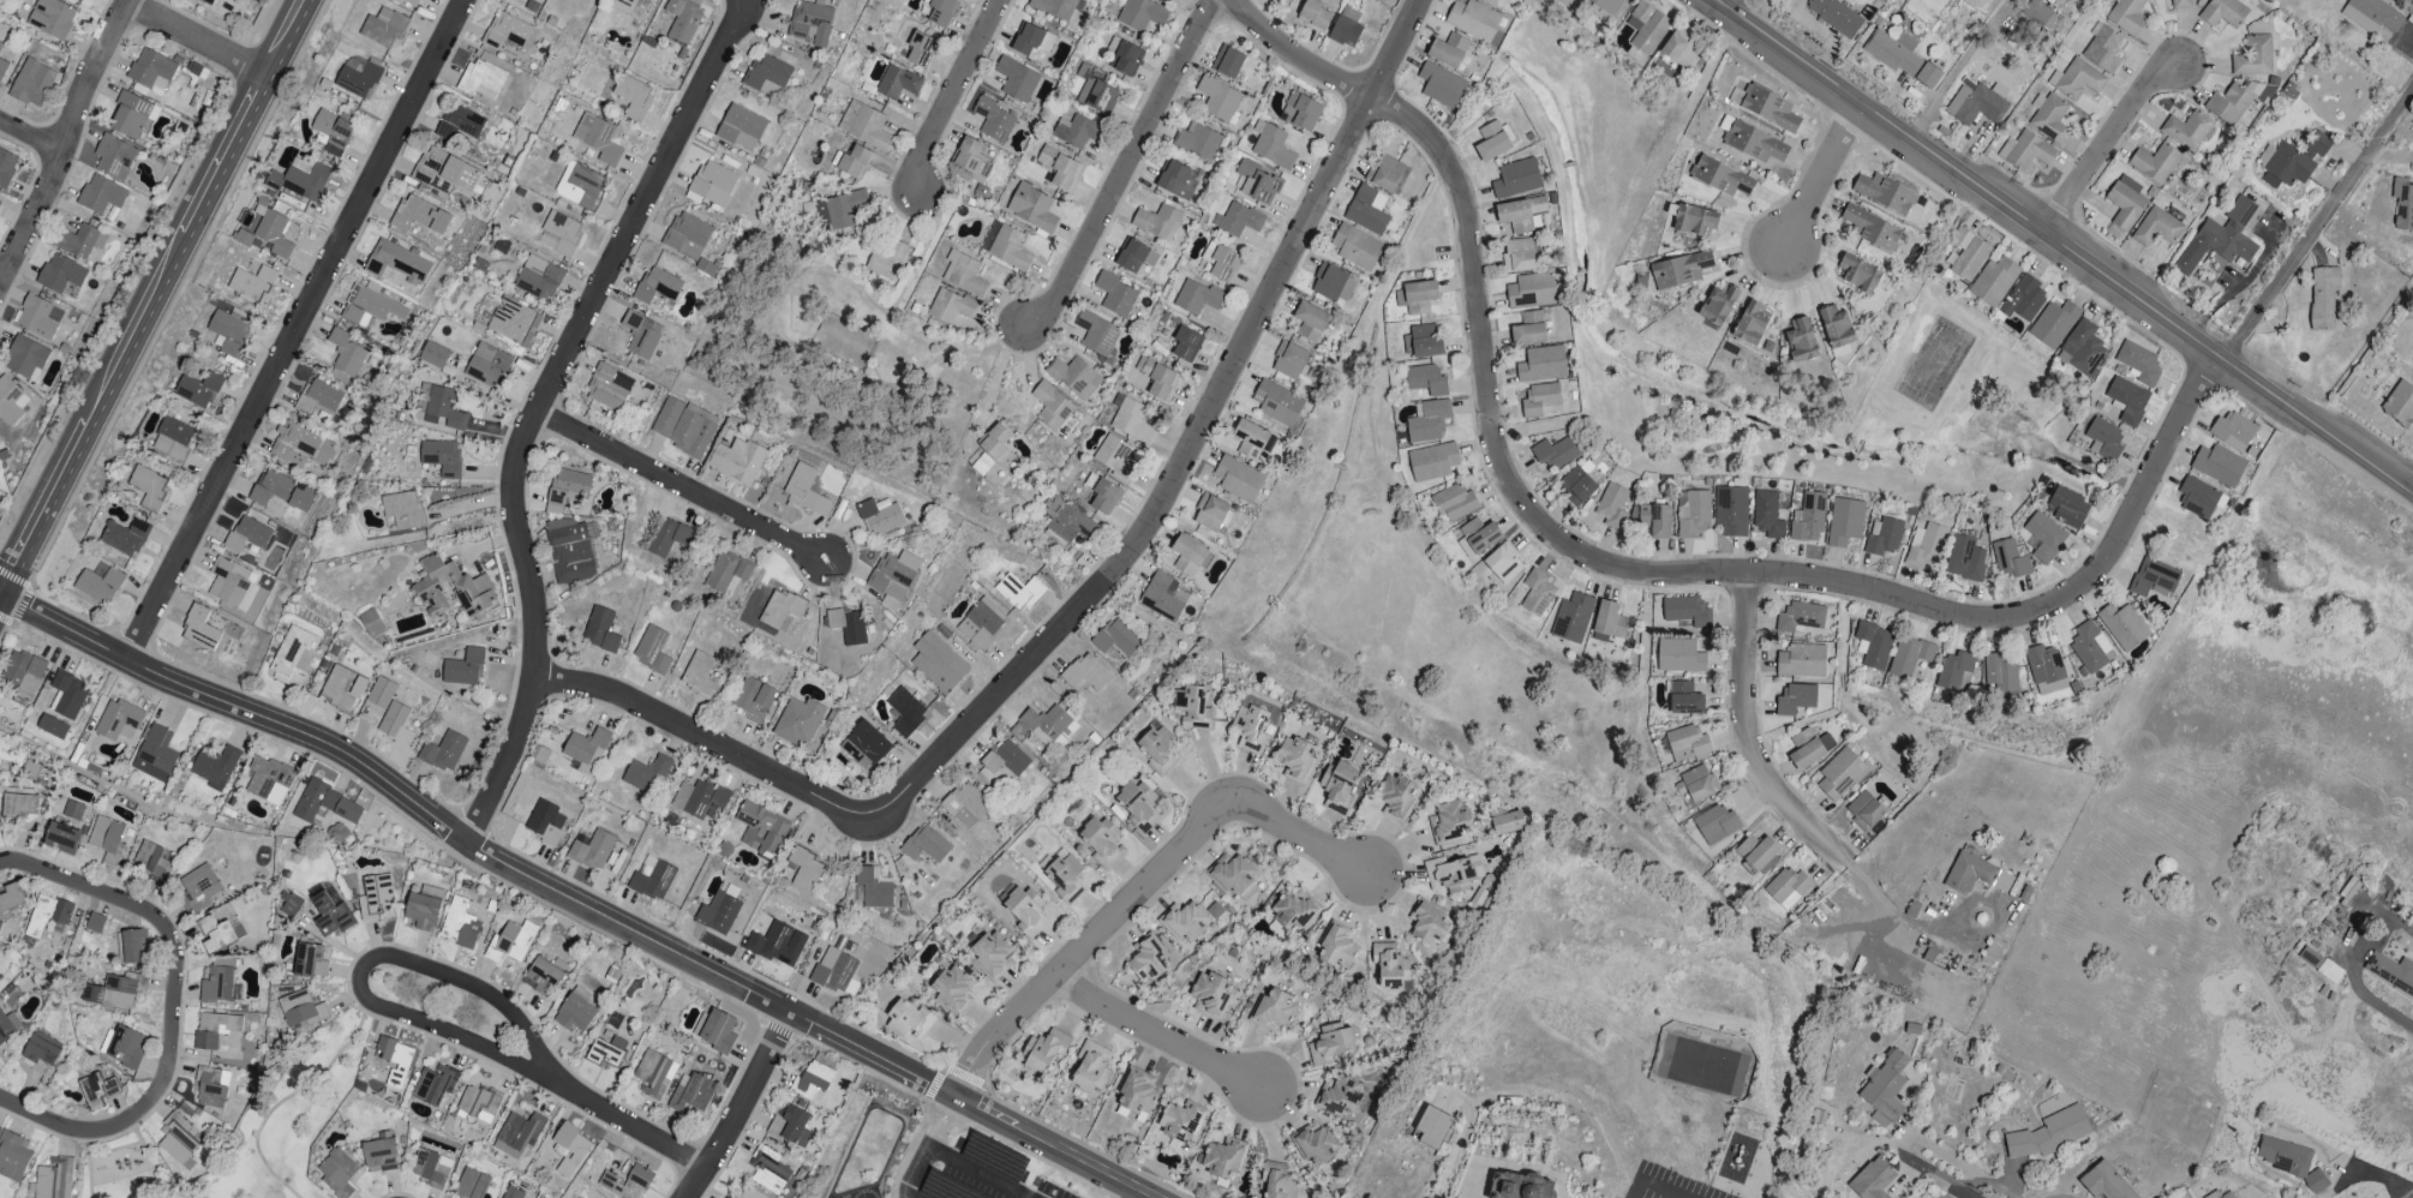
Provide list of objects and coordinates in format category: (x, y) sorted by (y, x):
building: (651, 0)
building: (1166, 0)
building: (1484, 0)
building: (206, 1)
building: (408, 2)
building: (1565, 2)
road: (1722, 4)
building: (2179, 4)
building: (628, 6)
building: (1054, 7)
building: (941, 12)
building: (2223, 12)
building: (1140, 14)
building: (1313, 14)
building: (2035, 14)
building: (1836, 16)
building: (2126, 16)
building: (2372, 16)
building: (52, 18)
building: (682, 19)
building: (1473, 20)
building: (810, 23)
building: (1346, 26)
building: (382, 28)
building: (1646, 28)
building: (505, 31)
road: (197, 37)
building: (1031, 40)
building: (0, 46)
building: (1679, 48)
building: (2102, 48)
building: (920, 49)
building: (1448, 50)
building: (1125, 56)
building: (2253, 56)
building: (1902, 58)
building: (1227, 61)
building: (2, 68)
road: (1957, 68)
building: (151, 70)
building: (766, 74)
building: (357, 77)
building: (1016, 79)
building: (2076, 79)
building: (481, 80)
building: (32, 83)
building: (897, 83)
building: (1441, 85)
building: (1095, 92)
road: (950, 94)
building: (633, 96)
building: (1217, 98)
building: (2237, 101)
building: (1976, 104)
building: (1768, 108)
building: (1300, 112)
building: (131, 114)
building: (2049, 118)
building: (993, 120)
building: (459, 124)
building: (863, 125)
building: (741, 128)
building: (2186, 130)
building: (1076, 131)
building: (333, 132)
road: (31, 136)
building: (598, 138)
building: (1197, 140)
road: (66, 142)
building: (1491, 142)
building: (1754, 143)
building: (1273, 148)
road: (2109, 148)
building: (2028, 151)
building: (114, 157)
building: (971, 158)
building: (2291, 161)
building: (854, 162)
building: (2154, 163)
road: (1124, 166)
building: (6, 167)
building: (1059, 168)
building: (443, 172)
building: (1384, 173)
road: (1818, 175)
building: (1720, 176)
building: (300, 179)
building: (1516, 179)
building: (1178, 180)
building: (712, 184)
building: (1258, 184)
building: (579, 186)
building: (1885, 193)
building: (101, 194)
building: (2125, 203)
building: (2402, 203)
building: (1031, 208)
building: (842, 209)
building: (1366, 210)
building: (1520, 214)
building: (420, 216)
building: (1238, 220)
building: (1695, 220)
building: (1157, 222)
building: (2157, 228)
building: (1870, 229)
road: (2322, 230)
building: (274, 233)
building: (687, 235)
building: (2219, 239)
building: (79, 241)
building: (256, 244)
road: (2061, 246)
building: (1355, 247)
building: (1008, 248)
building: (1966, 253)
building: (1521, 254)
building: (1136, 259)
building: (887, 260)
building: (1220, 262)
building: (396, 264)
building: (1681, 270)
building: (60, 274)
building: (963, 274)
building: (1858, 274)
building: (538, 278)
building: (1993, 281)
building: (252, 283)
building: (1331, 283)
building: (657, 286)
building: (1531, 290)
road: (151, 292)
building: (1115, 295)
building: (1417, 296)
building: (2322, 296)
building: (1196, 298)
building: (2023, 299)
building: (370, 305)
building: (1718, 305)
building: (950, 306)
building: (38, 317)
building: (514, 322)
building: (1310, 322)
building: (1752, 323)
building: (2053, 324)
building: (229, 329)
road: (294, 329)
building: (1528, 329)
building: (1837, 329)
building: (1096, 333)
building: (641, 334)
building: (1801, 341)
building: (1421, 342)
building: (1186, 343)
building: (2082, 349)
building: (345, 354)
building: (433, 354)
building: (25, 358)
building: (1289, 360)
building: (2138, 363)
building: (1541, 364)
building: (2412, 364)
building: (487, 365)
road: (999, 372)
building: (1074, 377)
building: (1157, 378)
building: (622, 381)
building: (1425, 381)
building: (605, 389)
building: (199, 390)
building: (318, 397)
building: (1540, 400)
building: (2127, 400)
building: (11, 402)
building: (1277, 403)
building: (2400, 405)
road: (539, 407)
building: (1050, 407)
building: (441, 408)
building: (1132, 421)
building: (1429, 421)
building: (682, 427)
building: (2233, 430)
building: (173, 439)
building: (1250, 439)
building: (2103, 439)
building: (996, 445)
building: (300, 447)
building: (1553, 453)
building: (1113, 456)
building: (442, 457)
building: (737, 461)
building: (1432, 462)
building: (2217, 465)
building: (1238, 480)
building: (1576, 486)
road: (1929, 486)
building: (149, 487)
building: (270, 487)
road: (682, 487)
building: (567, 491)
building: (806, 491)
building: (1104, 497)
building: (300, 498)
building: (2199, 498)
building: (1453, 503)
building: (1611, 507)
building: (2067, 508)
building: (403, 509)
building: (1730, 511)
building: (1210, 513)
building: (1692, 513)
building: (1766, 515)
building: (879, 516)
building: (1808, 519)
building: (1064, 520)
building: (1655, 520)
building: (1844, 522)
building: (247, 534)
building: (1479, 535)
building: (124, 537)
building: (667, 537)
building: (1882, 537)
building: (2043, 537)
building: (1924, 545)
building: (570, 551)
building: (1188, 556)
building: (1964, 558)
building: (2008, 559)
building: (1503, 563)
road: (1618, 569)
building: (726, 570)
building: (893, 577)
building: (2152, 577)
building: (232, 583)
building: (97, 585)
building: (451, 586)
building: (1020, 592)
building: (1535, 592)
road: (1096, 594)
building: (1162, 597)
building: (780, 609)
building: (1684, 612)
building: (1571, 617)
building: (1800, 617)
building: (1609, 619)
building: (373, 623)
building: (848, 624)
building: (981, 625)
building: (2122, 627)
building: (199, 629)
building: (600, 630)
building: (1116, 637)
building: (1873, 645)
building: (2089, 647)
building: (651, 649)
building: (293, 655)
building: (1678, 657)
building: (1909, 657)
road: (2181, 657)
building: (1801, 661)
building: (938, 663)
building: (463, 669)
building: (2044, 670)
building: (1954, 672)
building: (22, 673)
building: (699, 675)
building: (1084, 675)
building: (2000, 675)
building: (342, 689)
building: (381, 693)
building: (67, 695)
building: (754, 699)
building: (1684, 699)
building: (1794, 699)
building: (1191, 706)
building: (904, 711)
building: (118, 720)
building: (798, 721)
building: (1251, 723)
building: (396, 725)
building: (52, 726)
road: (1749, 737)
building: (1687, 743)
building: (864, 745)
building: (1809, 748)
building: (586, 749)
building: (1158, 749)
building: (443, 751)
building: (155, 754)
building: (1294, 759)
building: (1002, 763)
building: (215, 766)
building: (646, 772)
building: (1839, 774)
building: (269, 780)
building: (1696, 784)
building: (1337, 786)
building: (696, 797)
building: (1394, 797)
building: (17, 804)
building: (325, 804)
building: (965, 805)
building: (1137, 805)
building: (1863, 810)
building: (72, 811)
building: (545, 822)
building: (1449, 822)
building: (1507, 822)
building: (1716, 825)
building: (761, 828)
building: (62, 838)
building: (106, 839)
building: (1101, 841)
building: (926, 844)
building: (592, 850)
building: (1758, 853)
building: (150, 862)
building: (804, 870)
building: (1453, 874)
building: (1234, 875)
building: (1975, 875)
building: (1066, 877)
building: (652, 879)
building: (1788, 887)
building: (199, 888)
building: (873, 888)
road: (1142, 894)
building: (11, 897)
building: (375, 897)
road: (570, 899)
building: (292, 906)
building: (424, 908)
building: (1294, 909)
building: (718, 911)
building: (1026, 911)
building: (1214, 911)
building: (47, 915)
building: (330, 915)
road: (1894, 915)
building: (95, 922)
building: (1184, 922)
building: (0, 923)
building: (459, 924)
building: (1427, 926)
building: (215, 934)
building: (510, 941)
building: (777, 944)
building: (133, 946)
building: (1337, 947)
building: (992, 956)
building: (310, 960)
building: (1148, 960)
building: (1389, 964)
building: (833, 970)
road: (2355, 970)
road: (439, 974)
building: (2390, 974)
building: (543, 978)
building: (217, 986)
building: (952, 988)
building: (113, 990)
building: (1209, 995)
road: (172, 1006)
building: (301, 1010)
building: (575, 1011)
building: (1274, 1011)
building: (906, 1018)
building: (214, 1029)
building: (714, 1030)
road: (778, 1031)
road: (1157, 1036)
building: (1330, 1044)
building: (122, 1047)
building: (606, 1052)
building: (40, 1054)
building: (394, 1059)
building: (1091, 1067)
park: (1702, 1067)
road: (947, 1068)
building: (653, 1074)
building: (812, 1080)
building: (435, 1084)
building: (209, 1088)
building: (1884, 1088)
building: (96, 1090)
road: (906, 1091)
building: (690, 1092)
building: (1137, 1092)
building: (1340, 1096)
building: (479, 1104)
road: (741, 1104)
building: (1180, 1121)
road: (628, 1122)
building: (790, 1125)
building: (1436, 1128)
building: (2049, 1133)
building: (517, 1134)
building: (178, 1138)
building: (1317, 1144)
road: (1083, 1145)
road: (932, 1146)
building: (570, 1150)
building: (379, 1155)
building: (13, 1156)
building: (2285, 1157)
building: (1223, 1158)
building: (431, 1168)
building: (768, 1170)
building: (337, 1172)
road: (978, 1173)
parking lot: (983, 1176)
building: (54, 1179)
road: (1954, 1179)
building: (1872, 1180)
building: (1276, 1181)
building: (2315, 1181)
building: (627, 1182)
building: (2104, 1182)
building: (471, 1184)
building: (1521, 1186)
road: (1642, 1192)
building: (510, 1193)
building: (2214, 1193)
building: (749, 1194)
building: (725, 1197)

